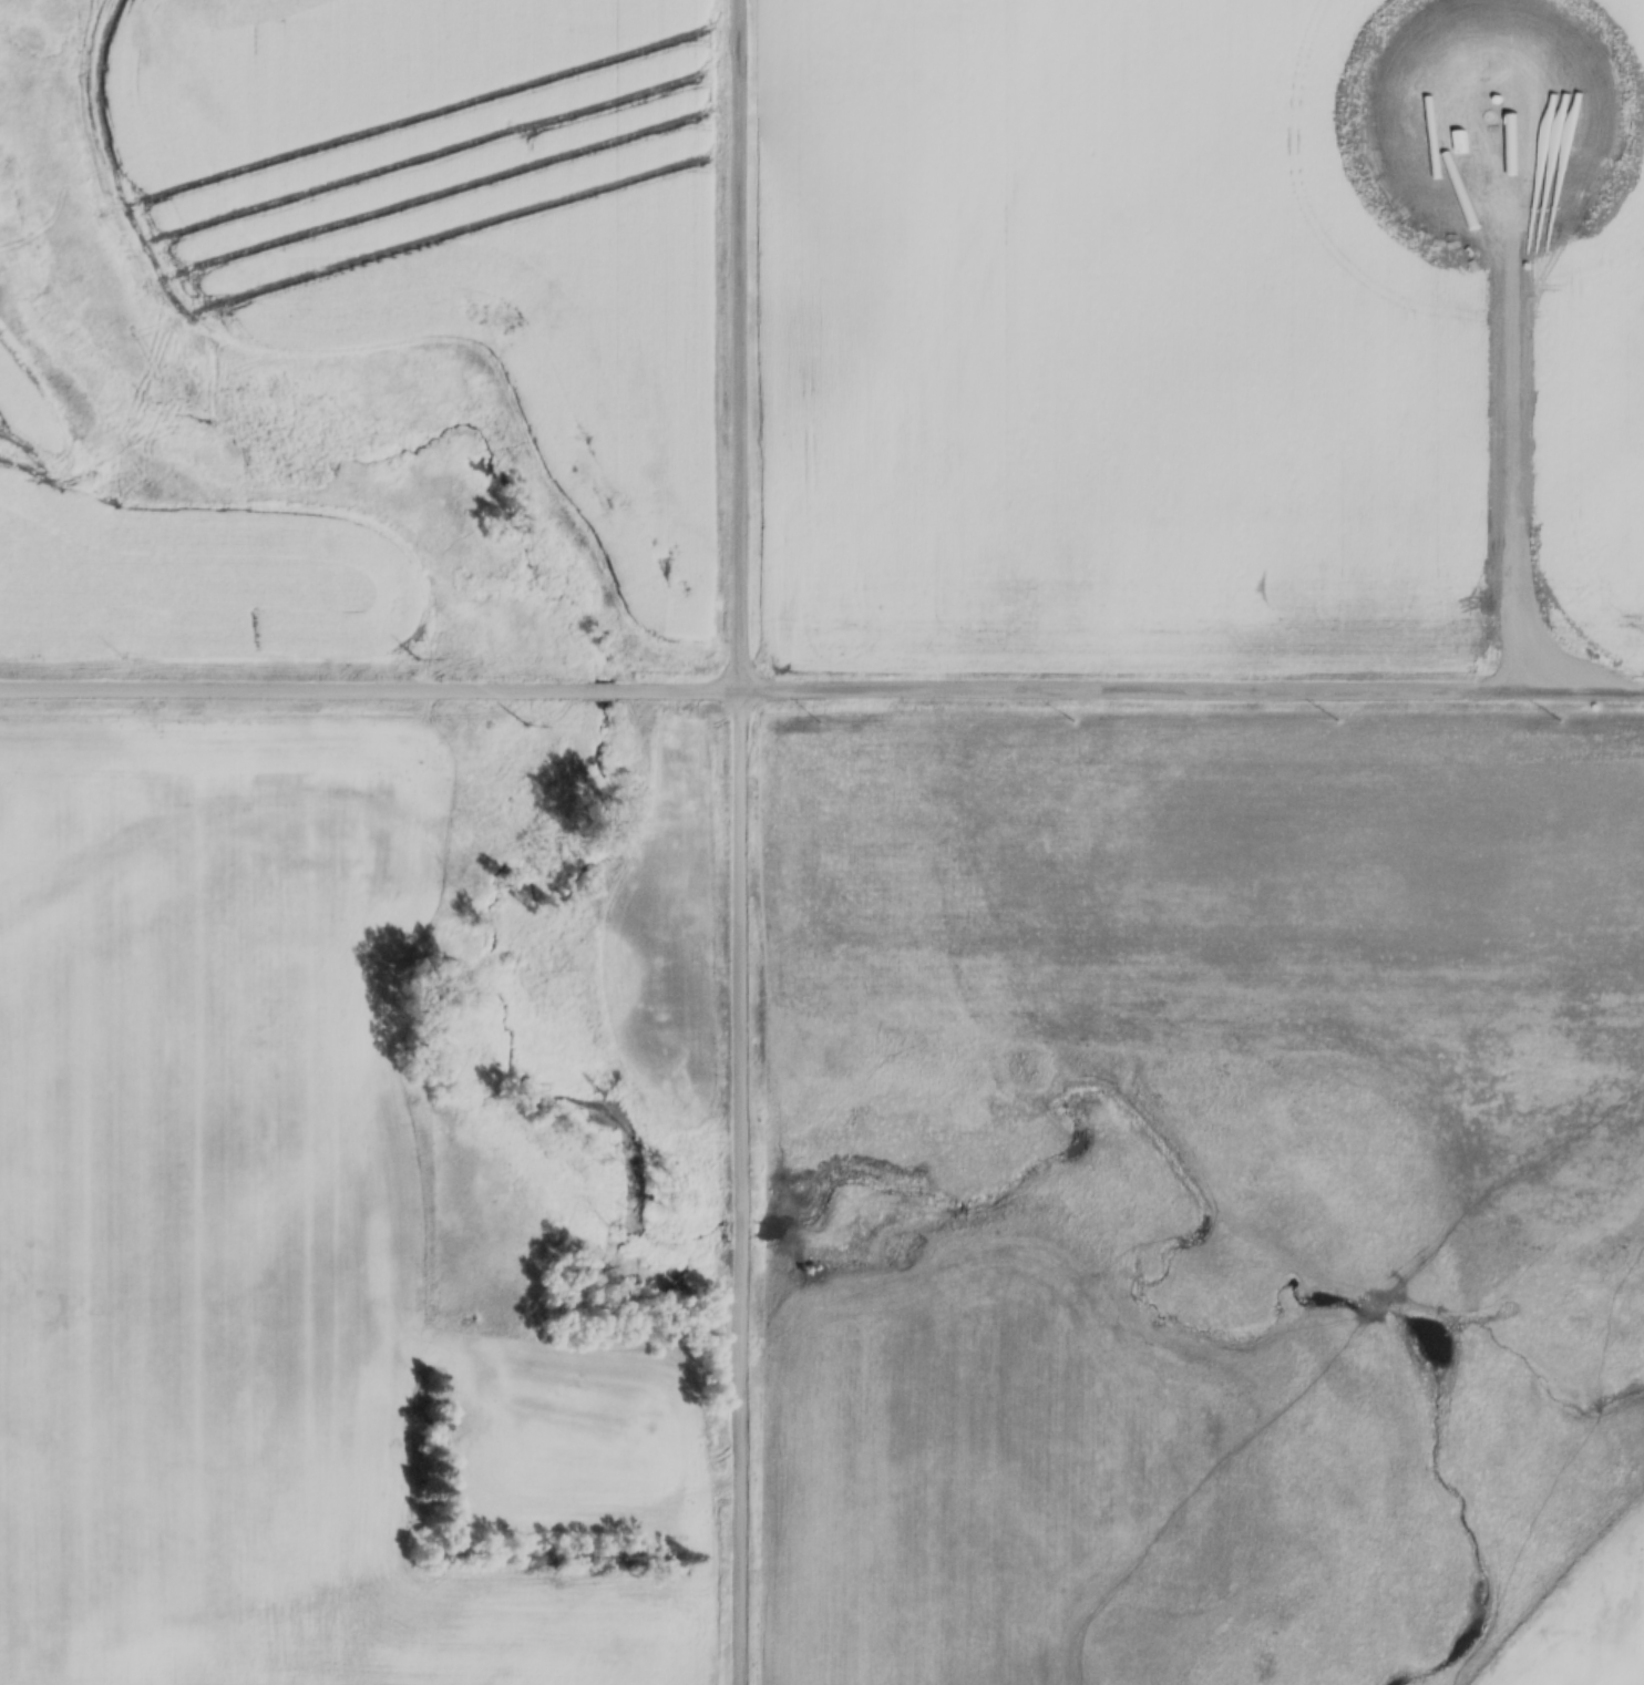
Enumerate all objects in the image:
wind turbine: (1487, 120)
road: (822, 688)
road: (741, 842)

